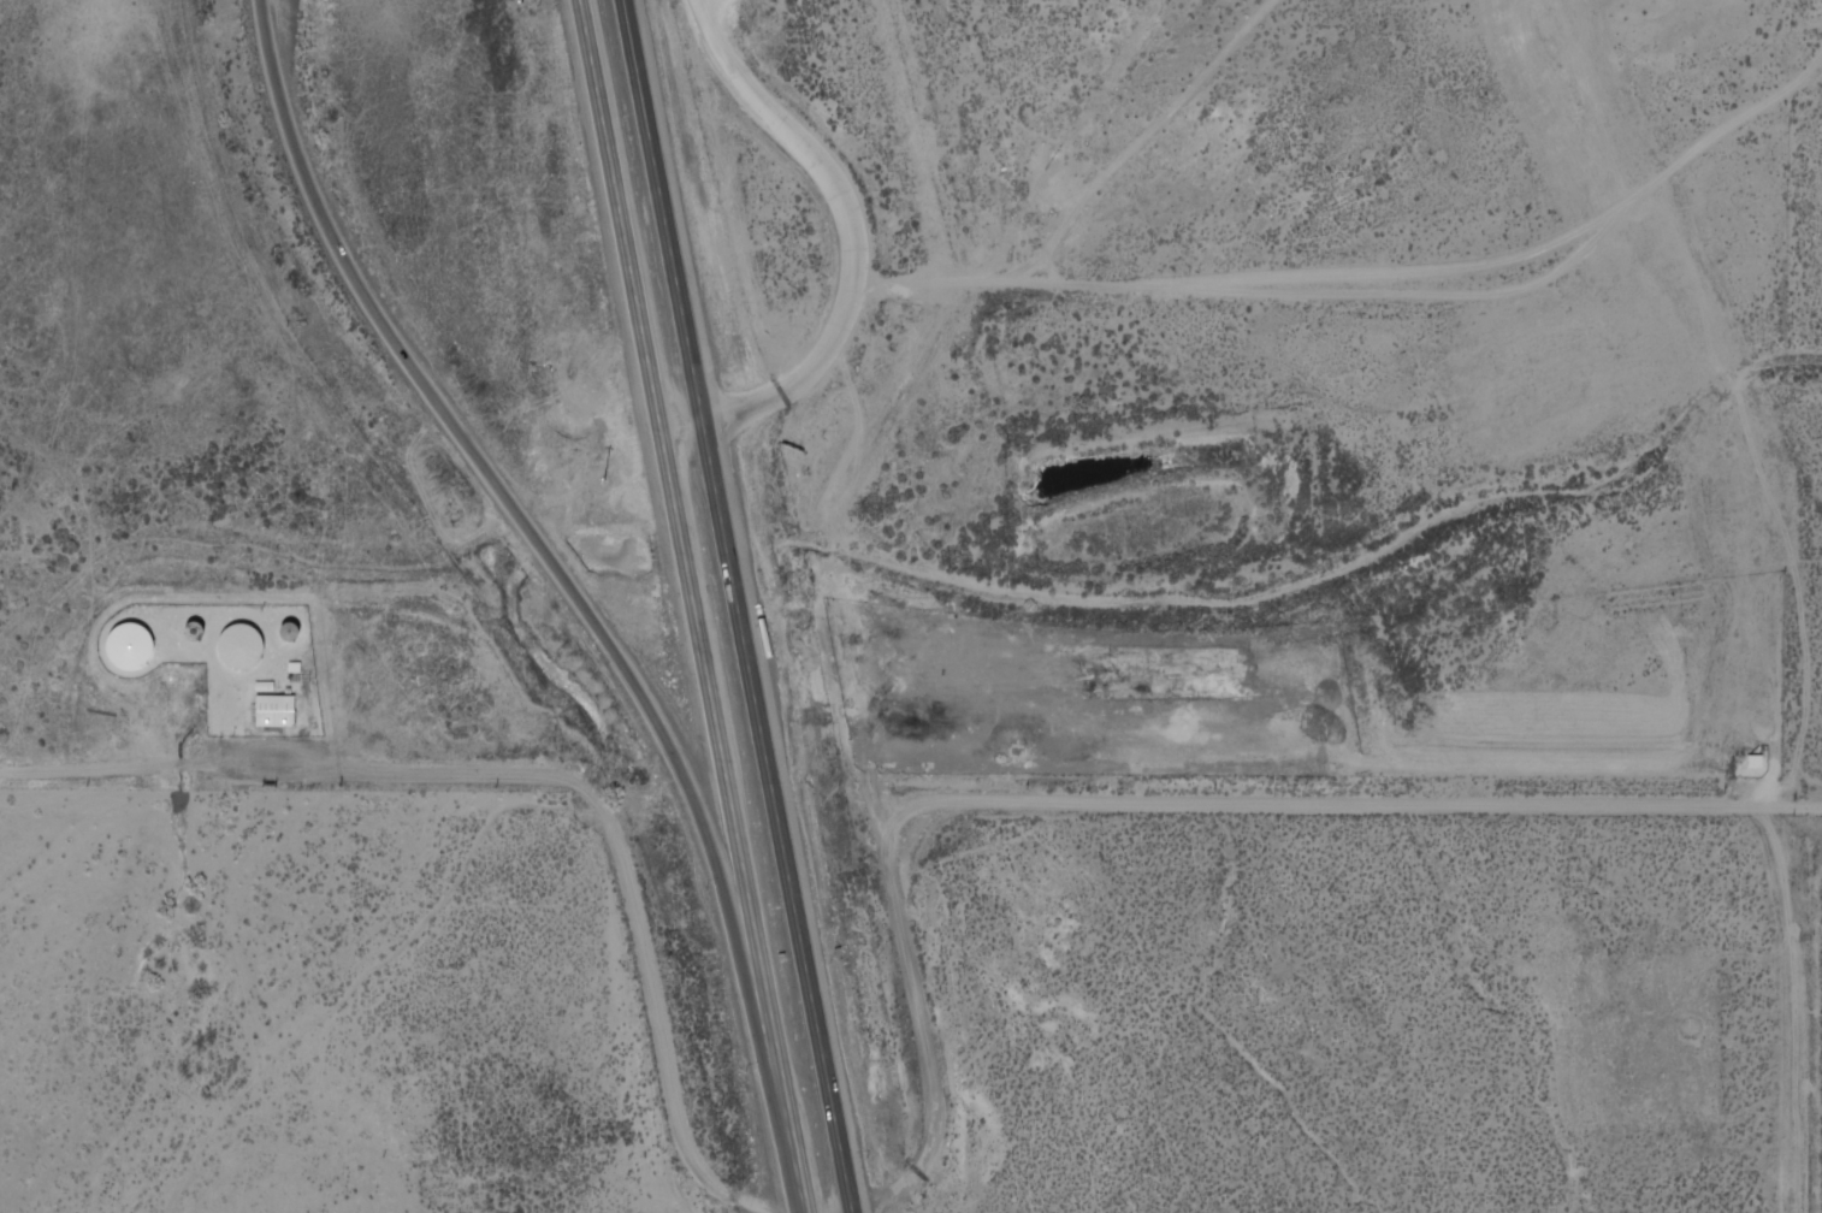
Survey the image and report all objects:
road: (852, 250)
road: (1377, 294)
road: (514, 499)
road: (669, 503)
road: (739, 600)
building: (1732, 628)
building: (242, 644)
building: (277, 709)
road: (783, 1110)
road: (927, 1153)
road: (851, 1208)

